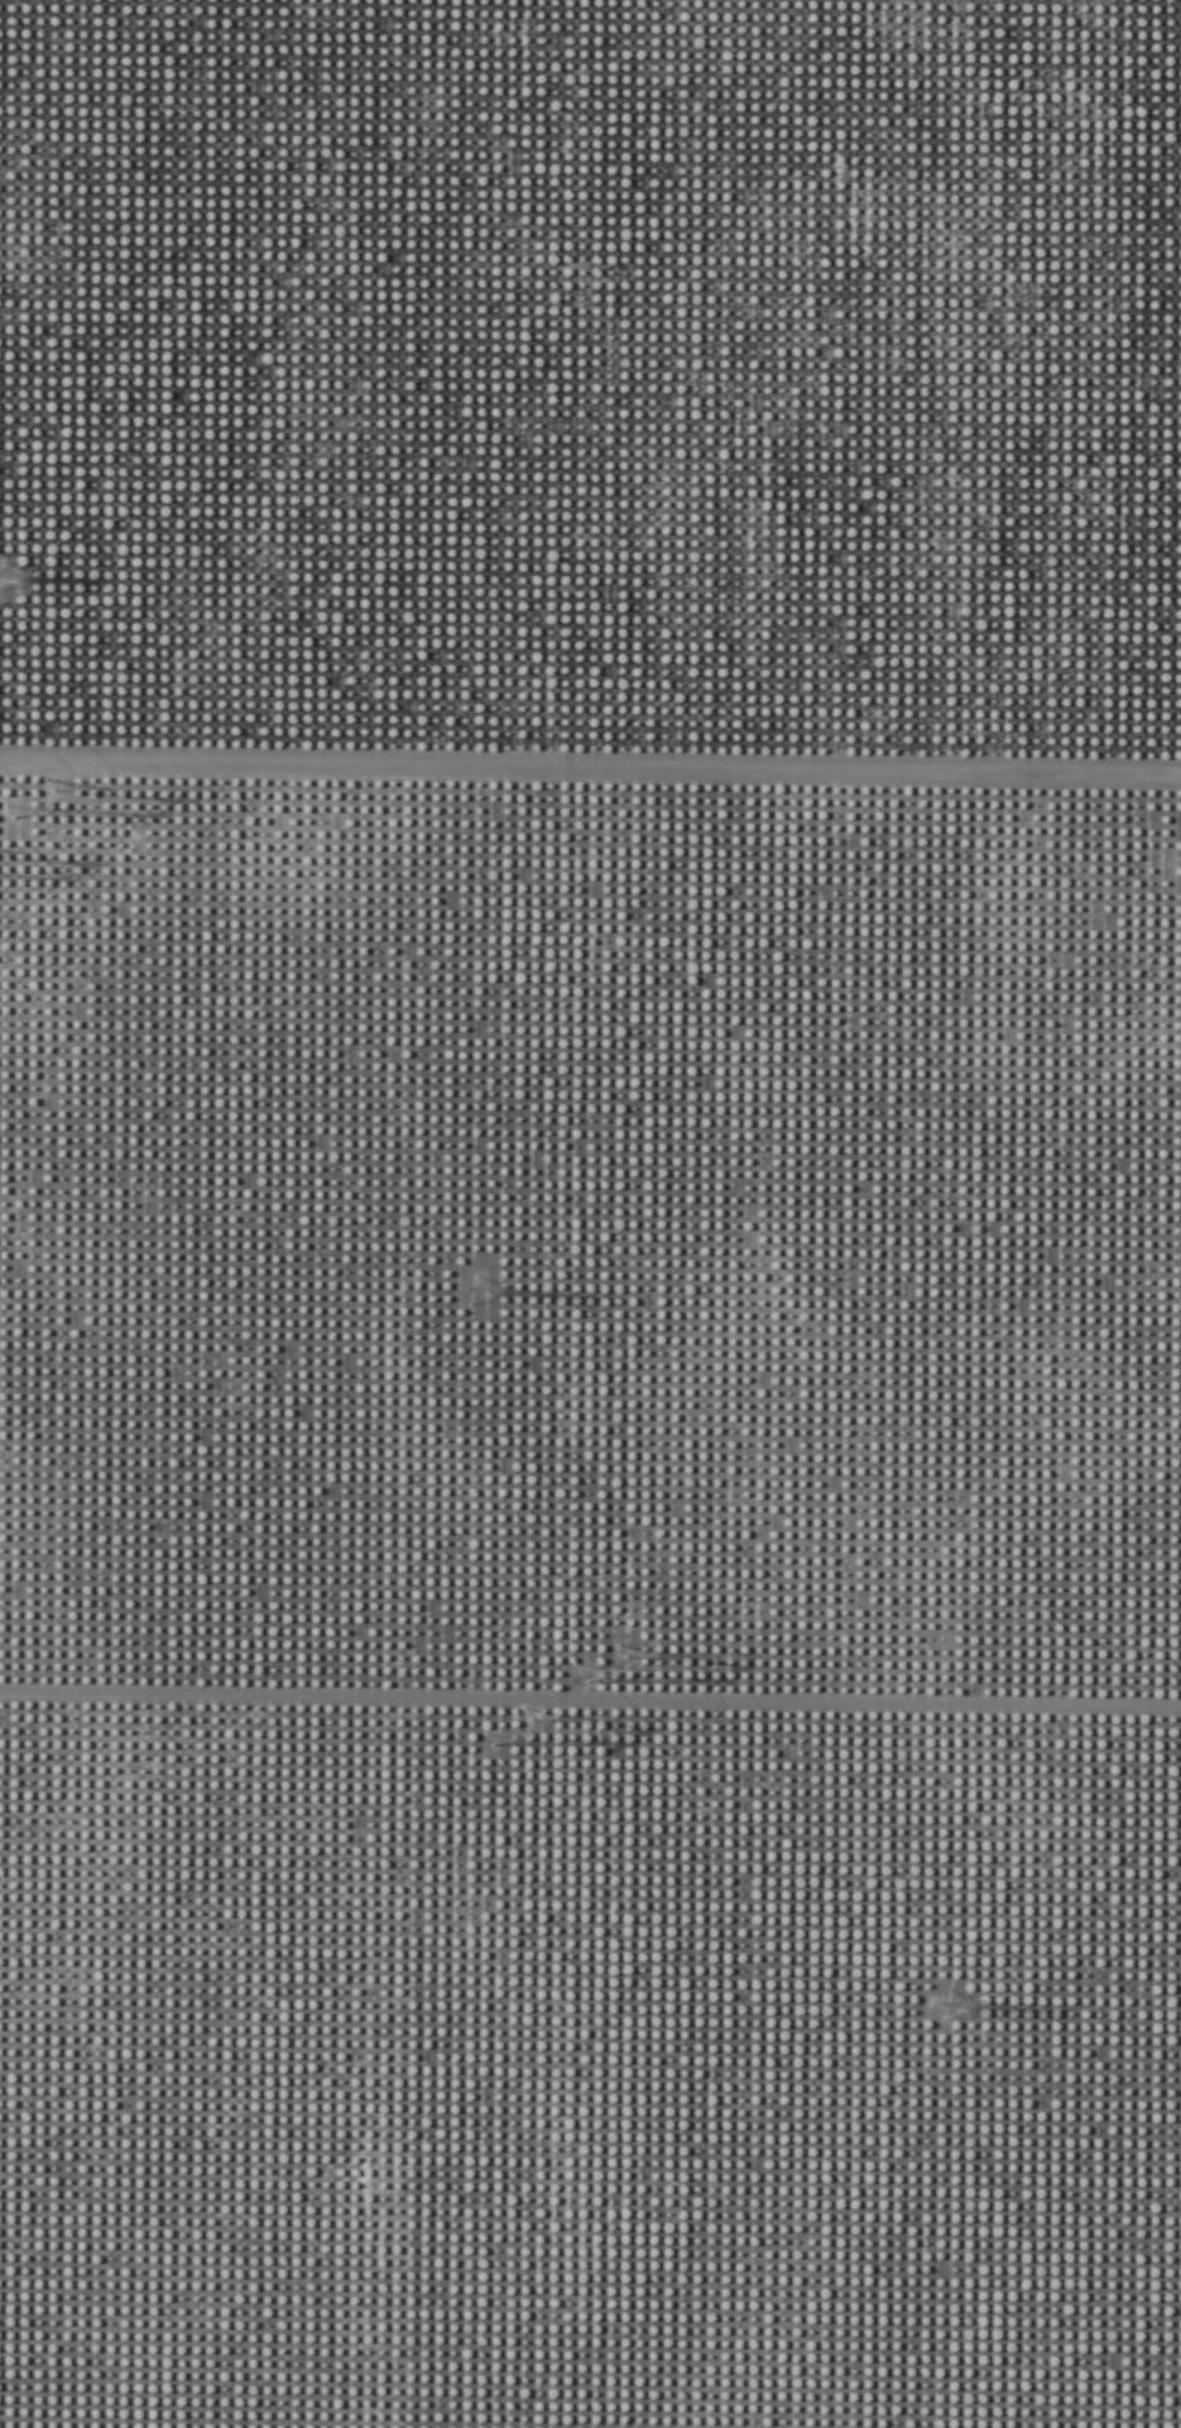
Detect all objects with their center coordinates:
power tower: (10, 586)
power tower: (31, 791)
power tower: (484, 1301)
power tower: (610, 1659)
power tower: (529, 1737)
power tower: (961, 2018)

